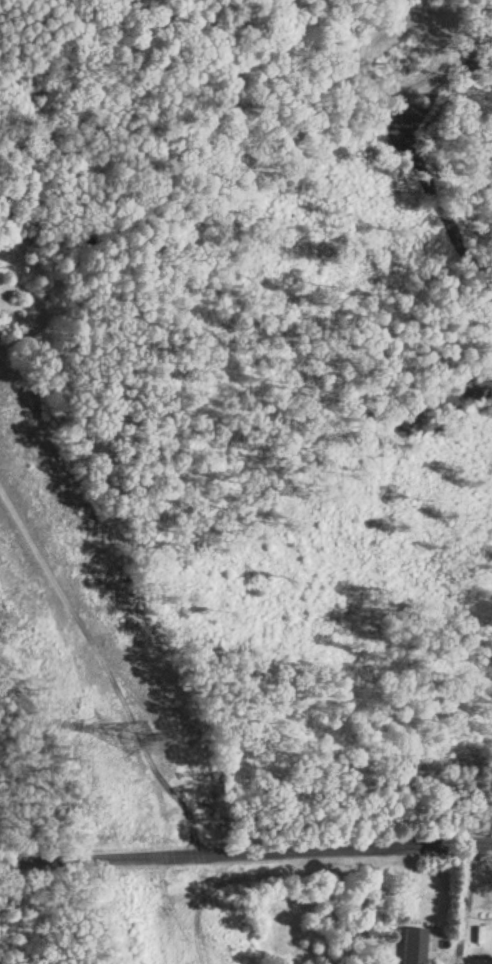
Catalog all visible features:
power tower: (133, 739)
road: (334, 848)
road: (89, 858)
road: (463, 903)

